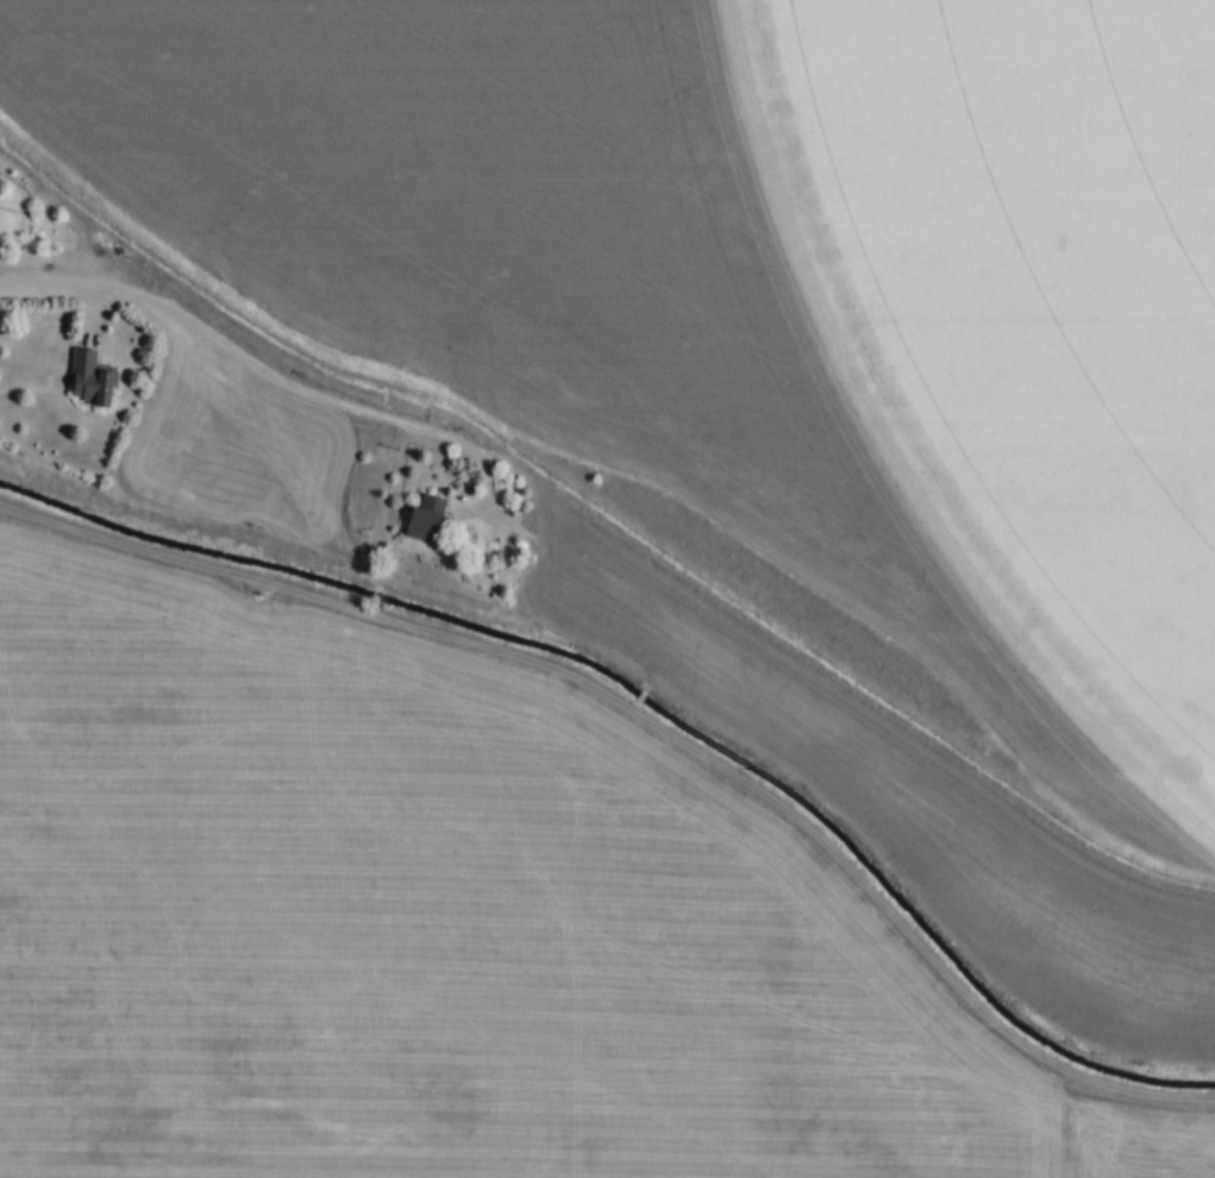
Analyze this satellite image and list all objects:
road: (277, 369)
building: (86, 376)
building: (421, 518)

